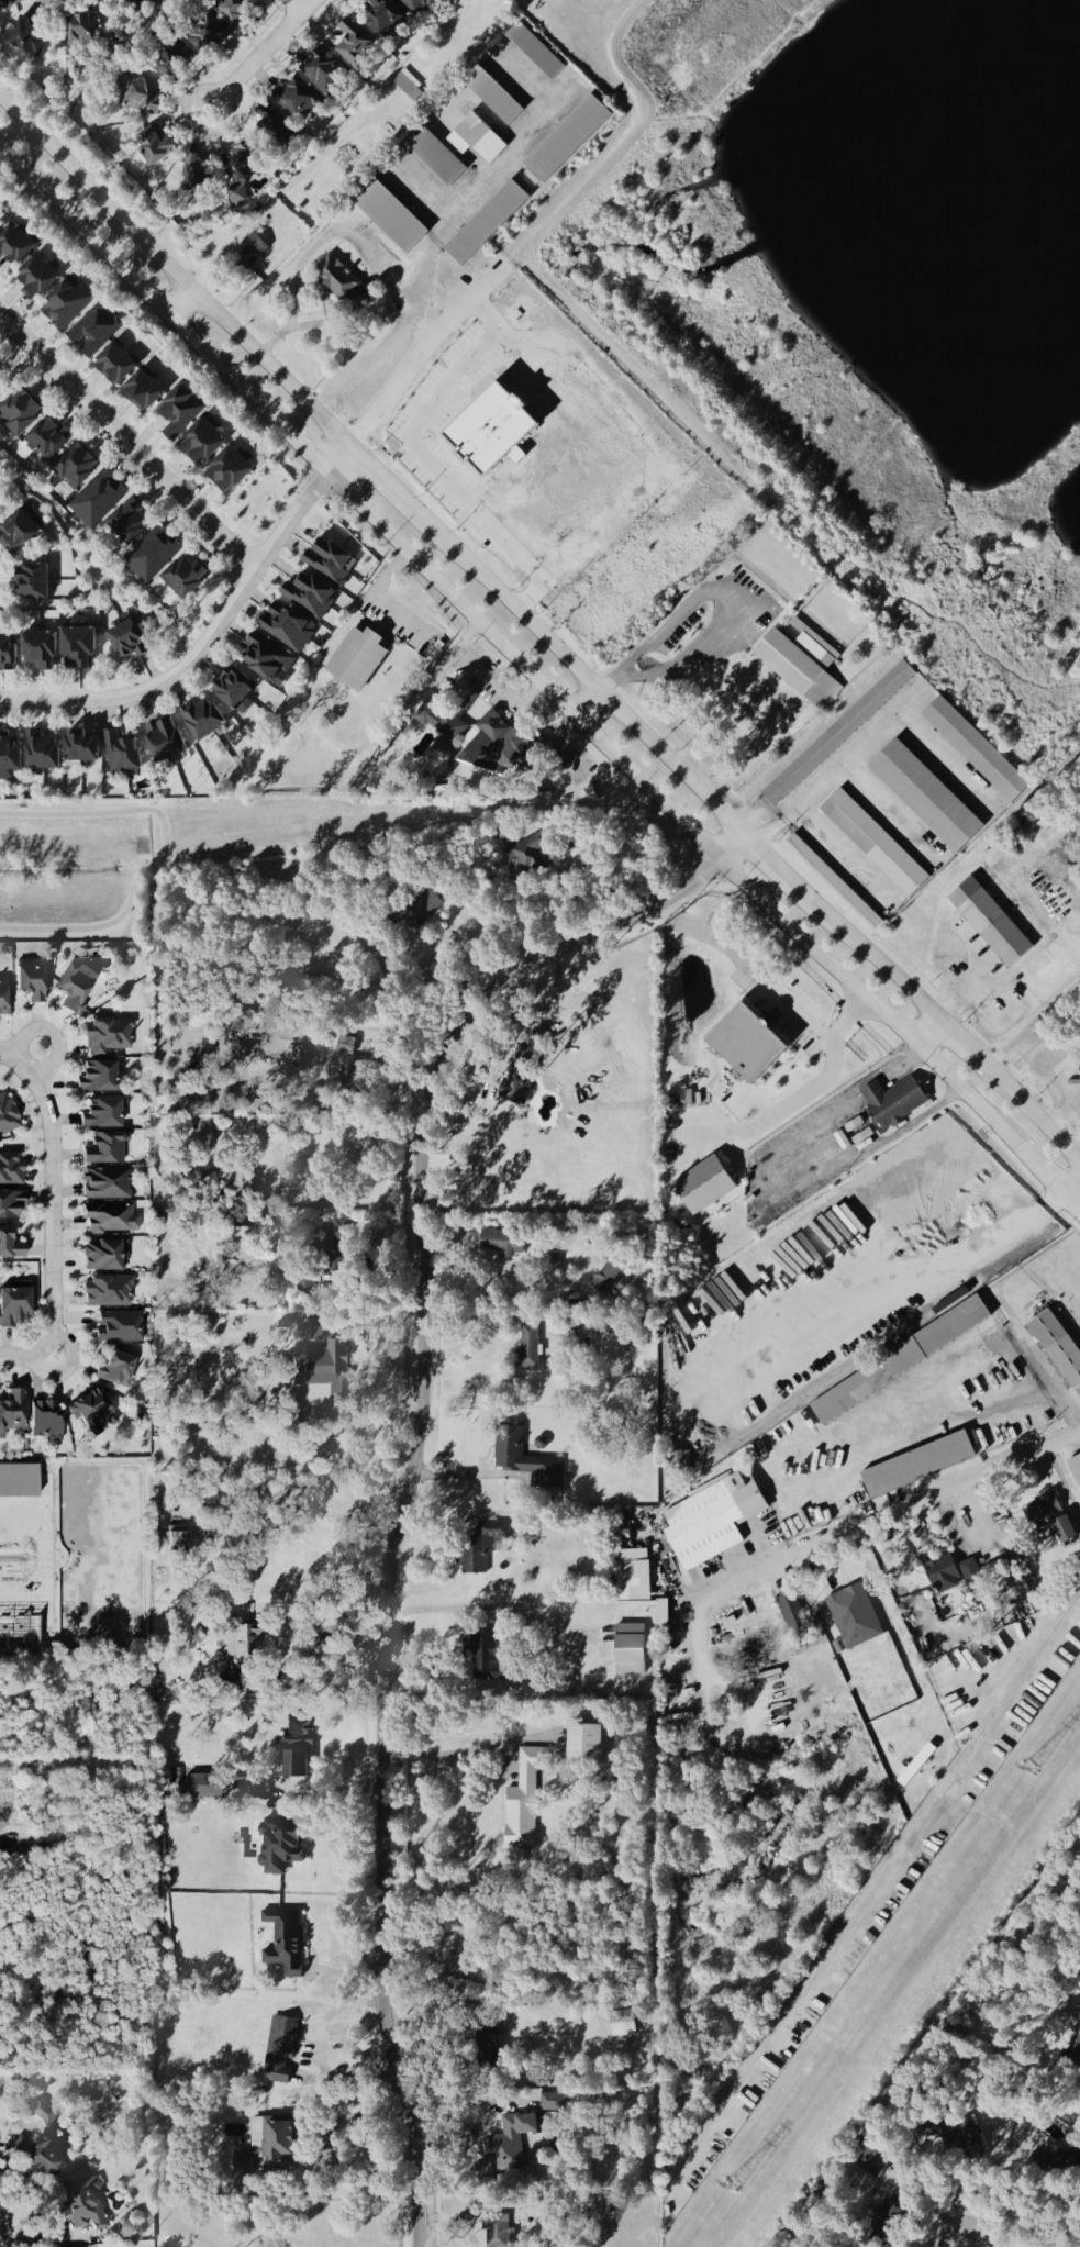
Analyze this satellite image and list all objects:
building: (151, 1)
building: (11, 3)
road: (296, 4)
building: (420, 7)
building: (234, 11)
building: (382, 19)
building: (82, 29)
building: (208, 36)
building: (27, 37)
building: (354, 45)
building: (536, 52)
road: (260, 53)
building: (171, 64)
building: (325, 73)
building: (409, 87)
building: (142, 97)
building: (493, 97)
building: (298, 100)
building: (275, 126)
building: (477, 140)
building: (568, 140)
building: (155, 146)
building: (435, 155)
building: (244, 160)
building: (194, 181)
road: (485, 187)
building: (235, 196)
building: (391, 218)
building: (487, 224)
road: (322, 240)
building: (15, 245)
building: (250, 251)
road: (172, 275)
building: (37, 278)
building: (339, 282)
road: (135, 288)
building: (66, 305)
road: (182, 309)
building: (93, 331)
building: (115, 365)
building: (143, 391)
road: (385, 396)
building: (180, 411)
building: (20, 412)
building: (493, 430)
building: (48, 438)
road: (415, 441)
building: (202, 443)
road: (129, 448)
road: (300, 448)
building: (76, 466)
building: (229, 470)
road: (378, 480)
building: (97, 499)
building: (129, 522)
building: (19, 534)
building: (153, 555)
building: (331, 560)
building: (186, 578)
building: (32, 581)
road: (711, 591)
building: (309, 597)
road: (375, 603)
building: (287, 627)
road: (211, 637)
building: (126, 641)
building: (78, 646)
building: (40, 650)
building: (8, 652)
building: (268, 659)
building: (357, 659)
building: (786, 664)
road: (579, 676)
building: (234, 690)
road: (586, 704)
building: (203, 719)
building: (441, 721)
building: (837, 734)
building: (164, 742)
building: (496, 746)
building: (81, 747)
building: (975, 752)
building: (42, 753)
building: (10, 755)
building: (122, 755)
road: (944, 760)
road: (838, 769)
building: (924, 798)
road: (673, 812)
road: (889, 813)
building: (873, 844)
road: (845, 856)
building: (526, 857)
road: (775, 865)
building: (833, 882)
building: (987, 923)
road: (870, 957)
road: (755, 969)
road: (423, 979)
building: (30, 982)
building: (75, 987)
building: (3, 998)
road: (1032, 1024)
road: (26, 1028)
road: (927, 1035)
building: (108, 1036)
building: (748, 1044)
building: (346, 1046)
road: (962, 1047)
road: (13, 1054)
road: (54, 1057)
building: (525, 1068)
building: (97, 1078)
road: (799, 1094)
building: (894, 1102)
building: (101, 1115)
building: (7, 1116)
road: (1033, 1117)
building: (105, 1149)
building: (10, 1171)
road: (1042, 1172)
building: (105, 1184)
building: (704, 1187)
road: (1071, 1188)
road: (1071, 1203)
building: (10, 1205)
road: (53, 1205)
building: (109, 1219)
building: (502, 1243)
building: (10, 1246)
building: (103, 1257)
building: (335, 1257)
road: (514, 1275)
road: (376, 1276)
building: (610, 1279)
building: (308, 1284)
building: (108, 1292)
building: (13, 1308)
building: (119, 1327)
building: (935, 1339)
building: (1058, 1346)
building: (530, 1348)
road: (26, 1356)
road: (363, 1356)
building: (322, 1367)
road: (1043, 1367)
building: (116, 1371)
building: (92, 1411)
building: (12, 1413)
building: (45, 1421)
road: (861, 1442)
building: (525, 1459)
road: (417, 1460)
building: (677, 1462)
building: (917, 1465)
building: (1075, 1468)
road: (470, 1477)
road: (1064, 1481)
building: (1043, 1510)
road: (881, 1516)
building: (712, 1520)
building: (1062, 1533)
building: (177, 1539)
building: (481, 1546)
crop: (75, 1551)
road: (43, 1559)
building: (994, 1572)
building: (944, 1575)
building: (633, 1576)
building: (972, 1576)
road: (500, 1608)
building: (784, 1611)
building: (854, 1617)
road: (330, 1626)
road: (899, 1628)
building: (242, 1640)
building: (630, 1650)
building: (485, 1655)
building: (583, 1744)
building: (296, 1748)
road: (497, 1750)
building: (916, 1766)
power tower: (1029, 1770)
building: (203, 1787)
building: (523, 1801)
road: (926, 1820)
building: (279, 1844)
building: (285, 1942)
building: (622, 2024)
building: (280, 2048)
building: (1076, 2056)
building: (552, 2102)
building: (41, 2117)
building: (510, 2143)
road: (326, 2145)
building: (40, 2156)
building: (876, 2160)
building: (1068, 2161)
power tower: (727, 2187)
building: (83, 2204)
building: (498, 2232)
road: (973, 2243)

